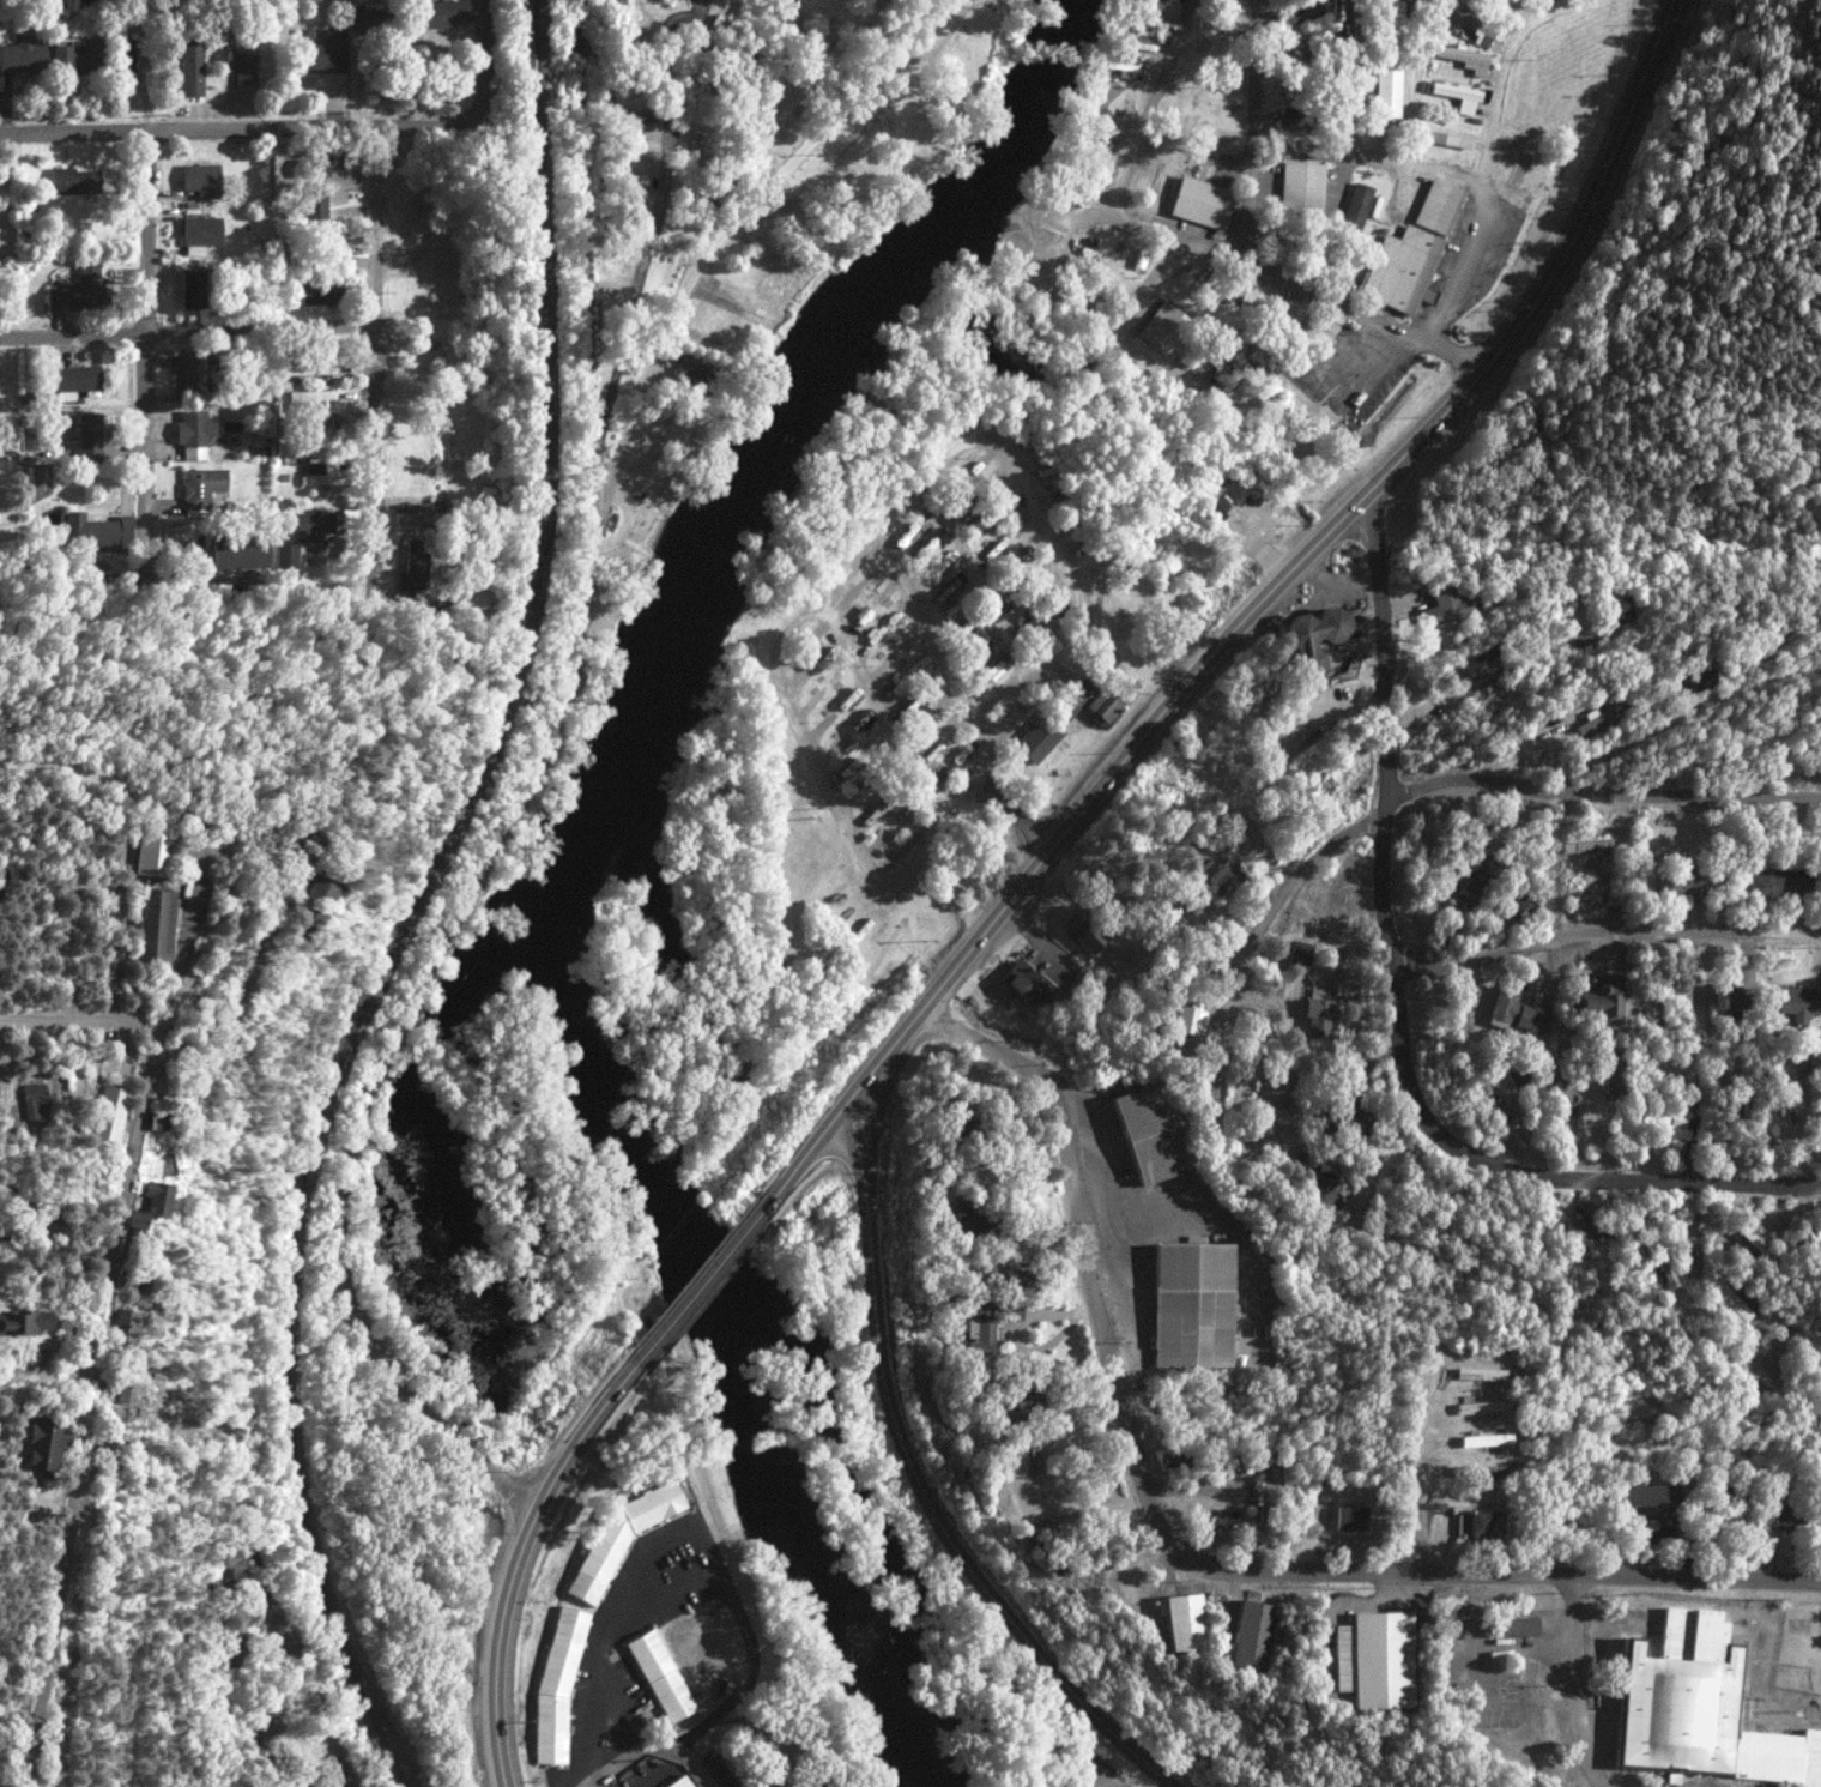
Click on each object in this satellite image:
building: (1341, 10)
building: (1300, 11)
building: (440, 12)
building: (1148, 12)
building: (368, 18)
building: (623, 18)
road: (927, 23)
building: (1220, 23)
building: (1471, 23)
building: (1037, 28)
building: (320, 49)
building: (1295, 49)
building: (22, 53)
building: (75, 56)
building: (1387, 56)
building: (1463, 56)
building: (639, 58)
building: (189, 62)
building: (244, 67)
road: (671, 81)
road: (690, 84)
building: (1290, 90)
building: (1454, 91)
building: (1108, 102)
park: (869, 113)
building: (630, 116)
building: (1295, 119)
building: (1446, 126)
road: (298, 128)
road: (1253, 133)
road: (1488, 156)
road: (1368, 163)
building: (628, 177)
building: (200, 179)
building: (73, 180)
building: (1299, 188)
building: (1200, 201)
building: (1357, 204)
building: (1438, 207)
building: (200, 234)
road: (716, 249)
building: (1403, 267)
road: (1271, 274)
building: (852, 283)
building: (194, 289)
building: (80, 290)
building: (319, 294)
road: (637, 312)
building: (1293, 313)
building: (1163, 326)
road: (190, 331)
building: (1263, 333)
road: (152, 337)
building: (1215, 366)
building: (310, 367)
building: (189, 373)
building: (704, 374)
road: (382, 376)
building: (77, 379)
building: (310, 393)
building: (750, 413)
building: (91, 433)
building: (195, 433)
building: (1046, 452)
building: (982, 464)
building: (322, 473)
building: (1054, 476)
building: (996, 485)
building: (957, 487)
building: (204, 489)
road: (905, 500)
building: (1061, 500)
building: (1217, 507)
building: (1005, 508)
building: (969, 511)
building: (416, 513)
road: (827, 518)
building: (316, 525)
building: (1014, 527)
building: (98, 530)
building: (909, 532)
building: (979, 532)
building: (1076, 532)
building: (242, 551)
building: (921, 551)
building: (1083, 553)
building: (987, 554)
building: (1028, 554)
building: (289, 556)
building: (417, 566)
building: (934, 567)
building: (1039, 573)
building: (872, 575)
road: (974, 578)
building: (1004, 584)
building: (944, 587)
building: (884, 596)
building: (847, 597)
building: (1051, 597)
road: (1258, 597)
building: (1446, 605)
building: (954, 606)
building: (1014, 606)
building: (1615, 608)
building: (860, 620)
building: (894, 620)
building: (1057, 623)
building: (962, 627)
building: (1027, 628)
building: (1311, 638)
road: (932, 640)
building: (908, 642)
building: (870, 644)
building: (799, 645)
building: (1034, 650)
building: (972, 651)
building: (828, 654)
building: (920, 663)
building: (884, 665)
building: (1477, 665)
building: (982, 671)
road: (1023, 676)
building: (839, 677)
building: (804, 678)
road: (1495, 681)
building: (932, 682)
building: (1693, 682)
building: (896, 684)
building: (997, 695)
building: (849, 699)
building: (811, 702)
building: (909, 704)
road: (879, 705)
building: (940, 706)
building: (1599, 717)
building: (1066, 718)
building: (863, 723)
building: (823, 725)
building: (956, 726)
building: (920, 729)
building: (839, 745)
building: (877, 749)
building: (934, 749)
building: (963, 750)
building: (882, 766)
building: (849, 772)
building: (942, 772)
building: (857, 792)
building: (895, 793)
road: (1598, 797)
road: (528, 805)
building: (907, 813)
building: (871, 816)
building: (881, 837)
building: (1584, 845)
building: (903, 849)
building: (150, 850)
river: (579, 864)
building: (1220, 881)
building: (1671, 883)
building: (1775, 883)
building: (317, 889)
building: (1463, 895)
railway: (415, 905)
building: (1519, 907)
road: (283, 908)
building: (153, 924)
building: (1084, 931)
road: (1603, 936)
building: (1299, 955)
building: (1028, 983)
building: (1725, 997)
building: (1599, 1001)
building: (1799, 1002)
road: (1233, 1010)
road: (1395, 1010)
building: (1319, 1012)
building: (1516, 1014)
building: (1192, 1016)
road: (83, 1024)
building: (1614, 1074)
building: (1562, 1092)
building: (1786, 1098)
building: (31, 1100)
building: (105, 1113)
building: (1664, 1123)
building: (967, 1127)
building: (1153, 1131)
building: (1321, 1187)
building: (157, 1197)
road: (125, 1199)
building: (133, 1219)
building: (961, 1220)
building: (1753, 1236)
building: (1817, 1239)
road: (716, 1260)
building: (1664, 1264)
building: (1008, 1276)
building: (1731, 1302)
building: (1190, 1305)
building: (20, 1322)
building: (123, 1324)
building: (985, 1327)
road: (1787, 1400)
building: (1023, 1402)
building: (1478, 1406)
building: (1484, 1439)
building: (41, 1444)
building: (1012, 1463)
road: (920, 1484)
road: (1418, 1492)
building: (1646, 1503)
building: (1350, 1517)
building: (1781, 1519)
building: (1486, 1525)
building: (624, 1535)
road: (1180, 1552)
road: (520, 1553)
building: (230, 1564)
building: (1185, 1620)
building: (1508, 1625)
building: (1250, 1636)
park: (1797, 1641)
road: (612, 1647)
building: (1374, 1661)
building: (663, 1676)
road: (1579, 1684)
building: (558, 1685)
road: (329, 1701)
building: (1699, 1710)
building: (286, 1763)
building: (301, 1780)
building: (682, 1782)
road: (597, 1785)

